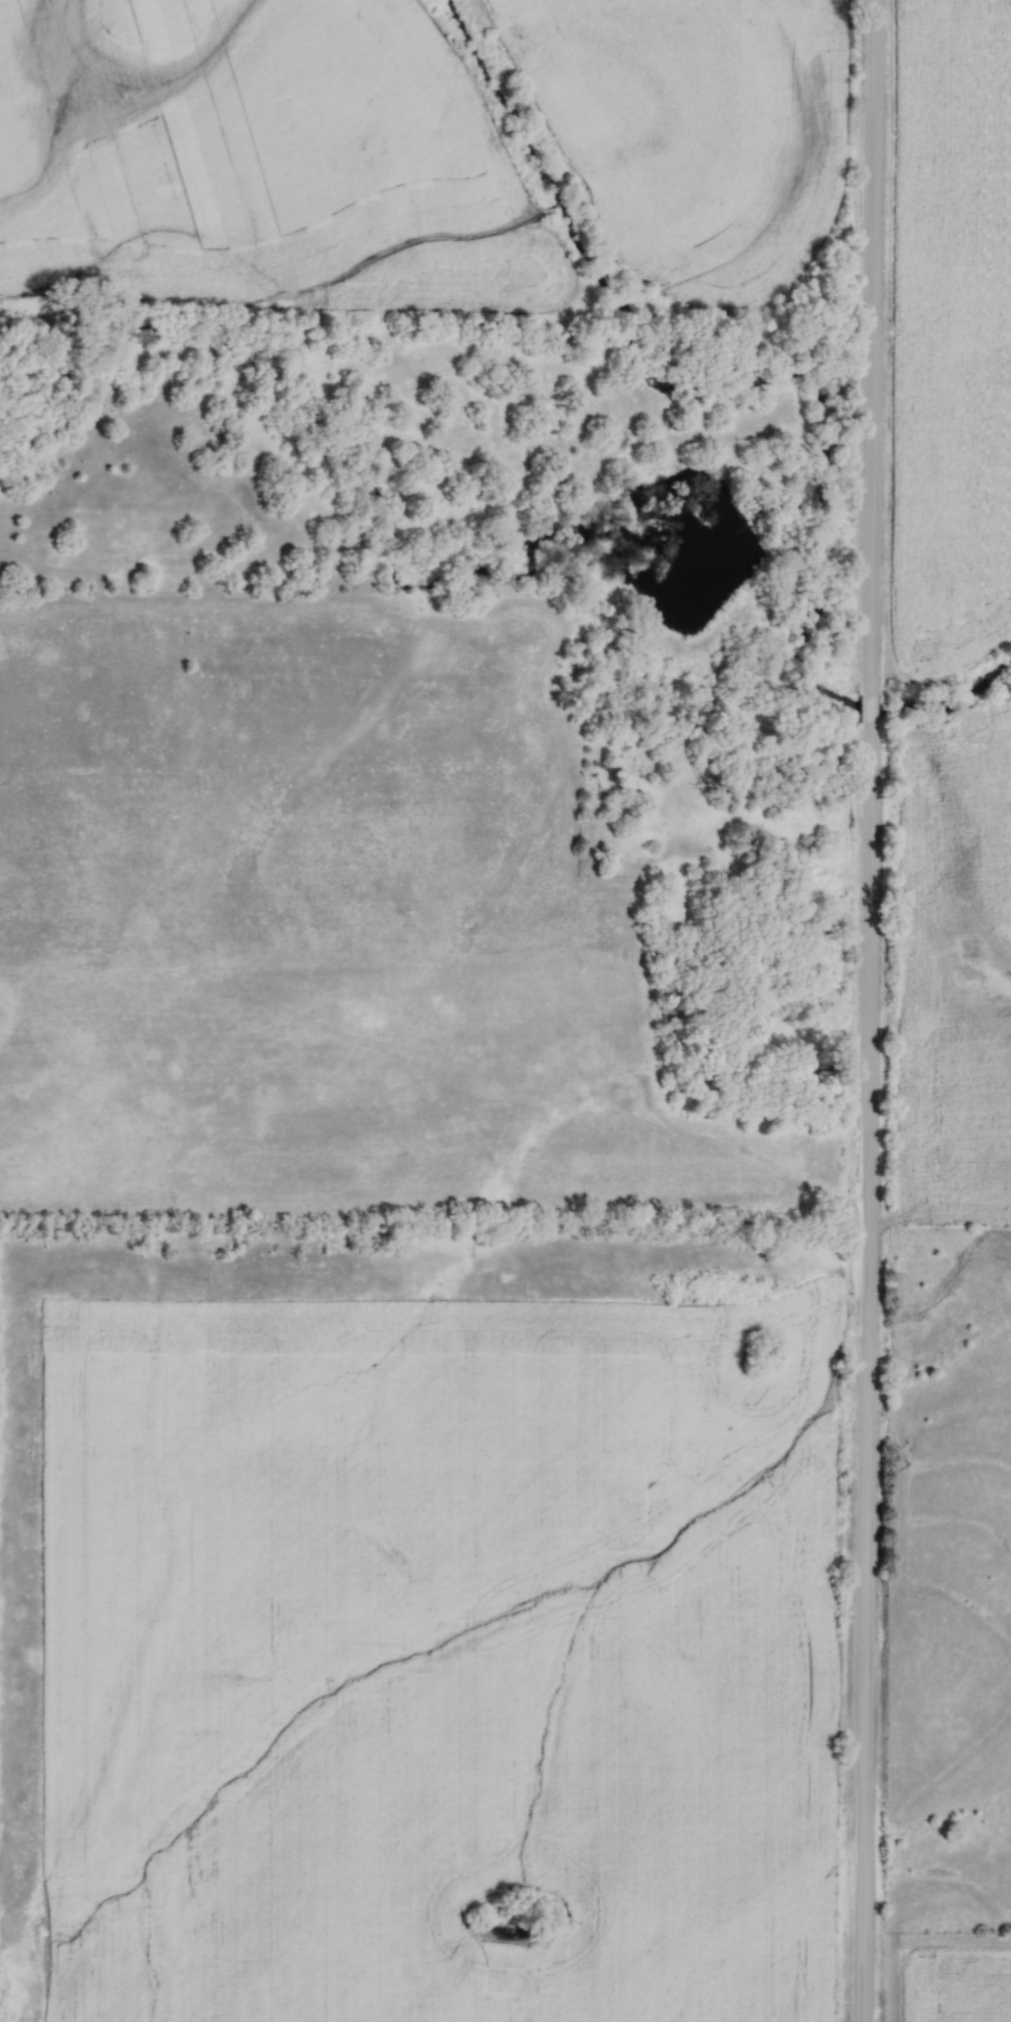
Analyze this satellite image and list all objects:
road: (866, 1011)

